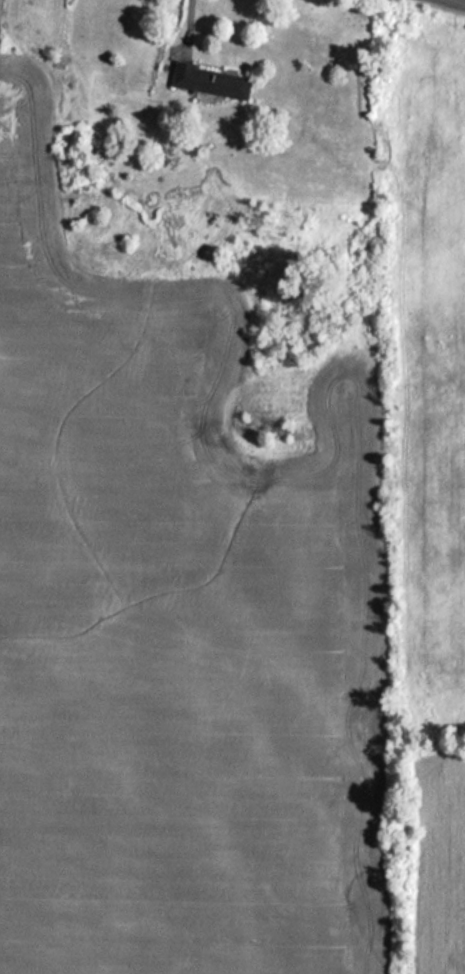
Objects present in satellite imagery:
road: (459, 1)
building: (209, 81)

